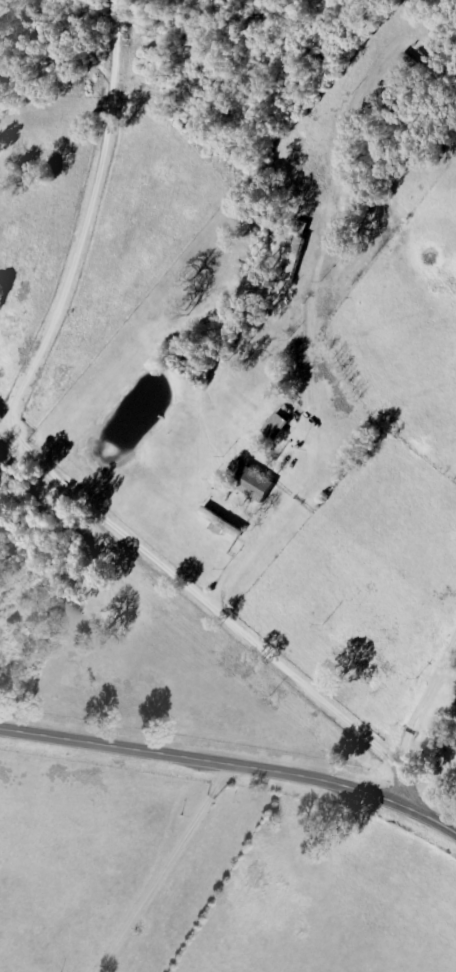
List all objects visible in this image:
building: (253, 484)
building: (222, 525)
road: (417, 719)
road: (233, 760)

